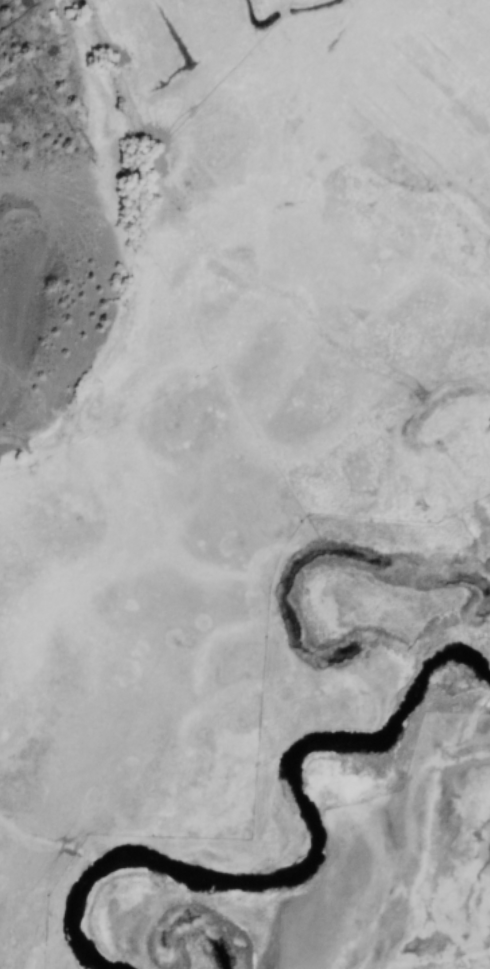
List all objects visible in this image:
river: (422, 667)
river: (458, 667)
river: (377, 740)
river: (207, 884)

